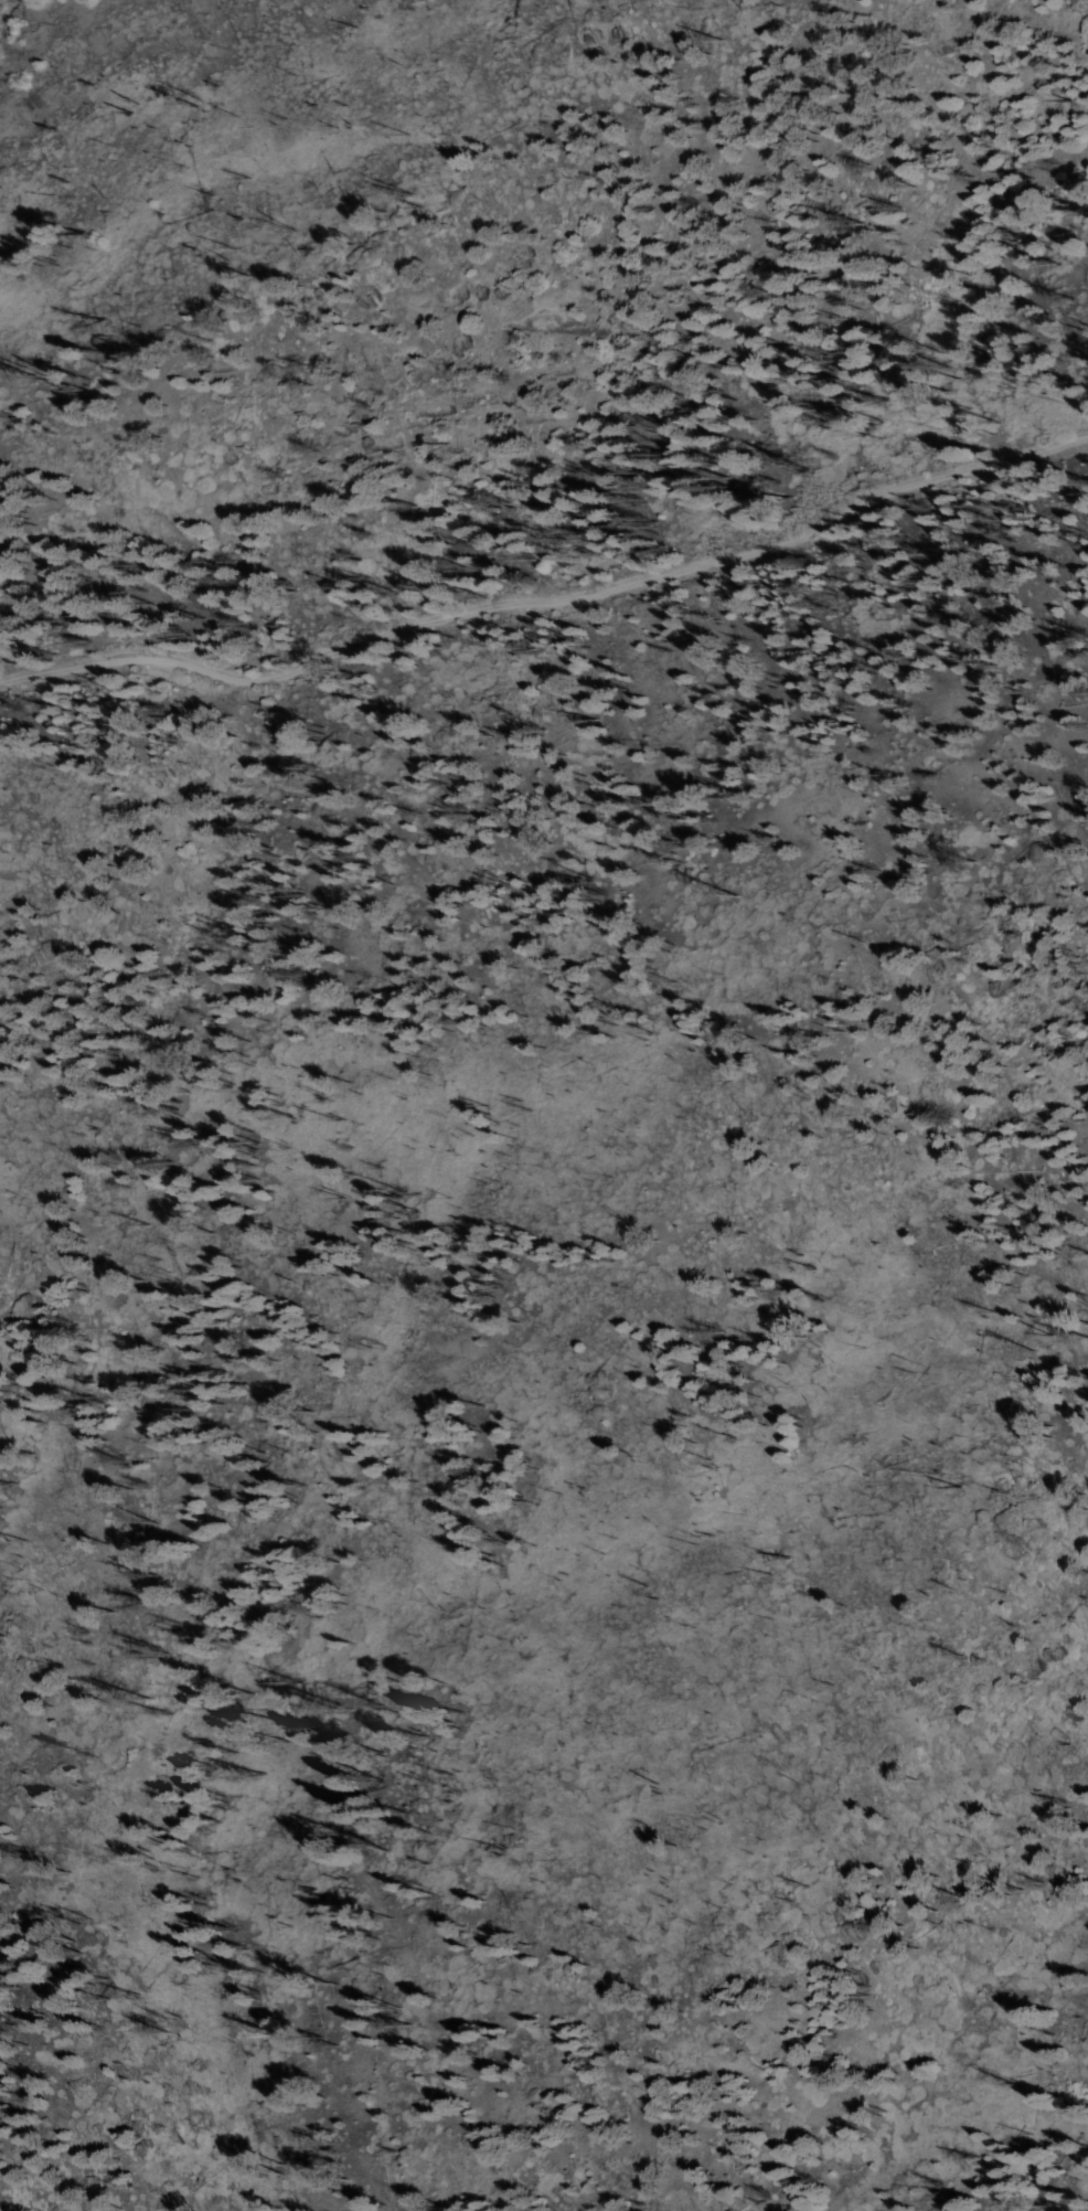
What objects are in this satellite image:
road: (547, 586)

